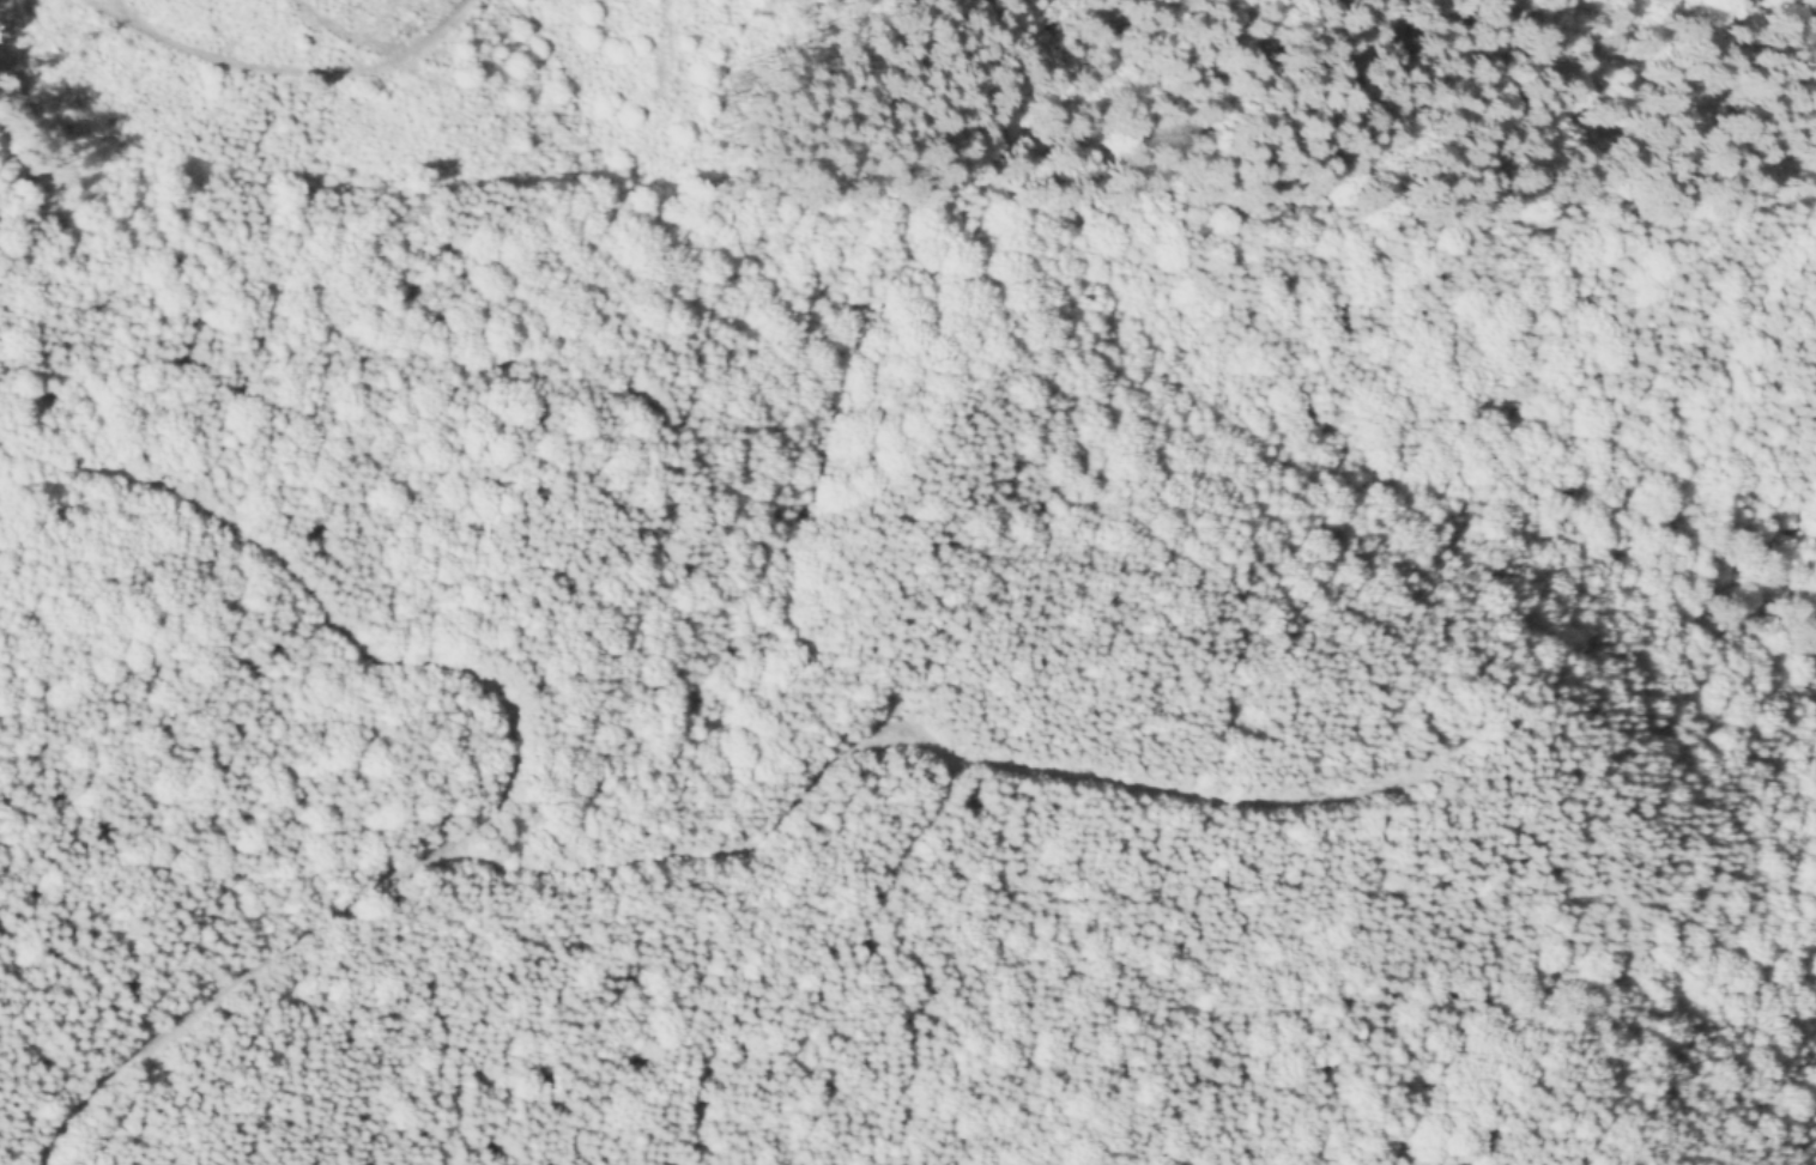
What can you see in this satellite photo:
road: (325, 626)
road: (724, 855)

